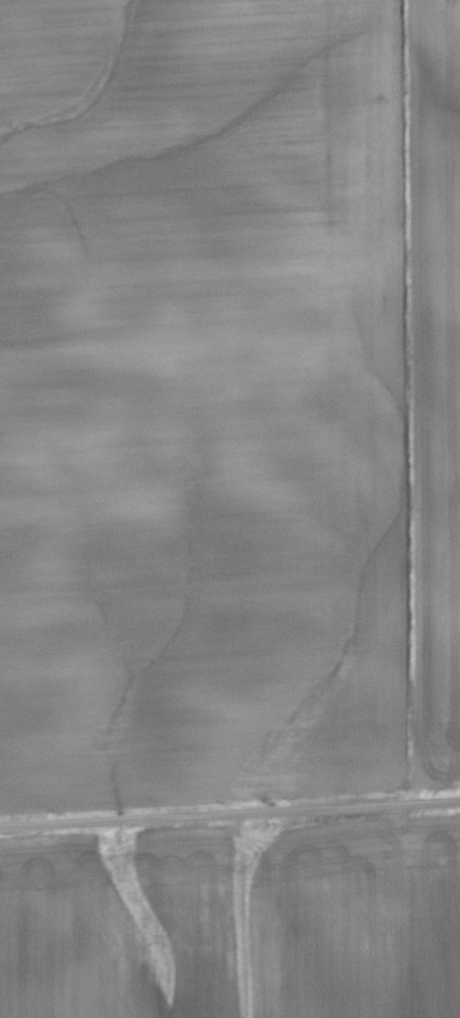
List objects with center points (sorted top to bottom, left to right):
road: (230, 813)

